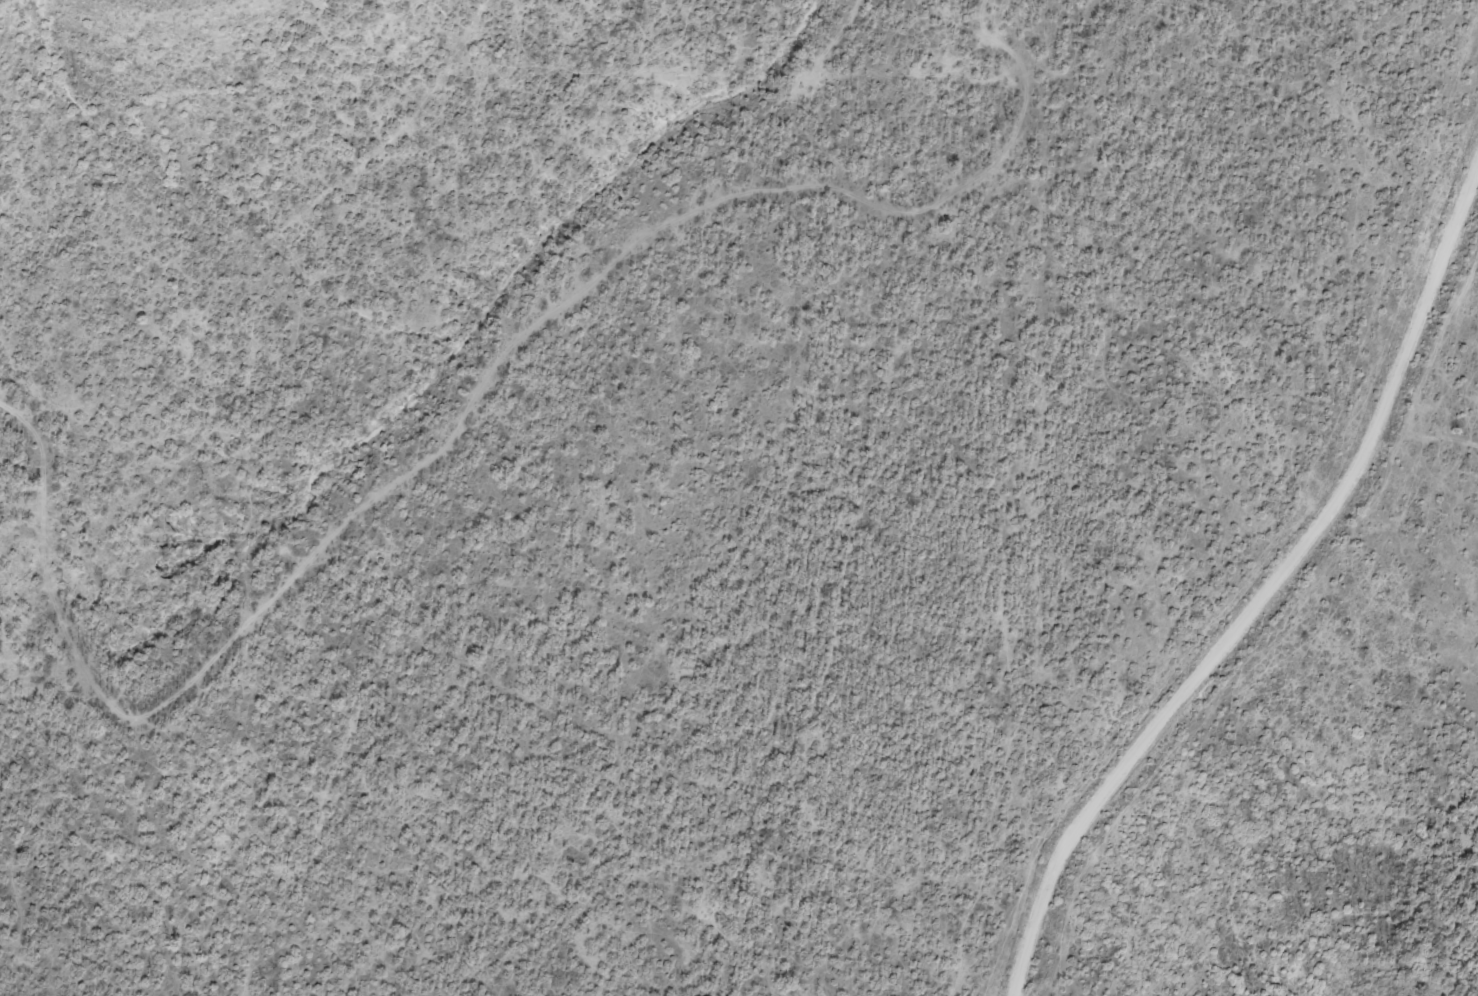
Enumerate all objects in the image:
road: (1267, 593)

